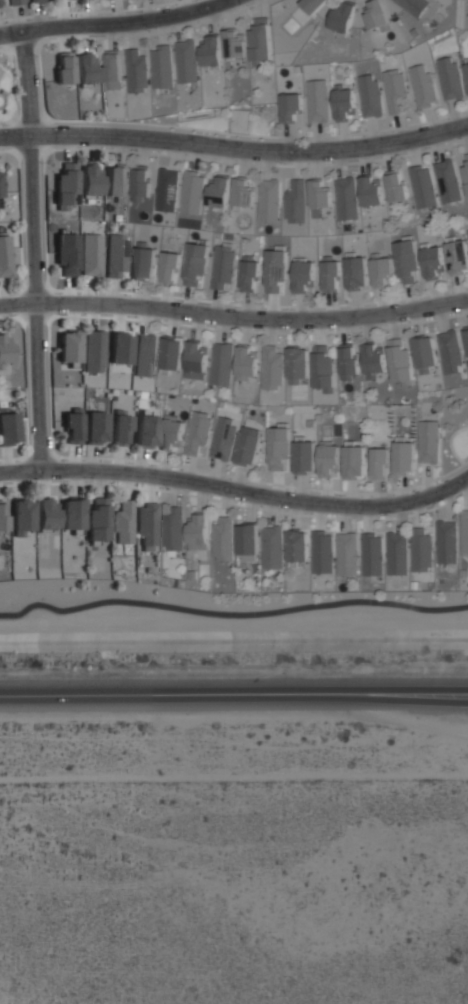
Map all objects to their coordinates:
building: (34, 0)
building: (15, 2)
building: (313, 5)
building: (413, 6)
building: (376, 15)
building: (342, 17)
road: (115, 22)
building: (234, 42)
building: (260, 42)
building: (211, 51)
building: (186, 61)
building: (161, 66)
building: (64, 67)
building: (86, 68)
building: (113, 69)
building: (136, 71)
building: (467, 74)
building: (450, 78)
building: (422, 85)
building: (395, 91)
building: (369, 95)
building: (317, 100)
building: (343, 102)
building: (291, 108)
road: (234, 148)
building: (465, 171)
building: (90, 179)
building: (447, 181)
building: (116, 182)
building: (141, 182)
building: (395, 185)
building: (66, 186)
building: (422, 186)
building: (167, 190)
building: (371, 190)
building: (219, 191)
building: (1, 192)
building: (192, 192)
building: (243, 192)
building: (319, 196)
building: (346, 198)
building: (269, 200)
building: (295, 201)
building: (467, 230)
road: (35, 249)
building: (67, 254)
building: (92, 254)
building: (117, 255)
building: (5, 256)
building: (457, 256)
building: (143, 261)
building: (406, 261)
building: (432, 261)
building: (195, 263)
building: (222, 266)
building: (169, 267)
building: (275, 270)
building: (381, 270)
building: (356, 273)
building: (248, 274)
building: (330, 274)
building: (303, 276)
road: (234, 318)
building: (467, 337)
building: (69, 346)
building: (120, 348)
building: (5, 349)
building: (93, 351)
building: (450, 351)
building: (424, 353)
building: (145, 355)
building: (373, 359)
building: (196, 360)
building: (347, 360)
building: (246, 362)
building: (400, 362)
building: (221, 363)
building: (297, 364)
building: (272, 368)
building: (323, 369)
building: (8, 426)
building: (73, 426)
building: (96, 427)
building: (120, 428)
building: (171, 430)
building: (147, 431)
building: (197, 433)
building: (223, 438)
building: (428, 441)
building: (248, 446)
building: (278, 447)
building: (304, 456)
building: (403, 457)
building: (328, 459)
building: (354, 462)
building: (379, 463)
road: (237, 490)
building: (47, 513)
building: (72, 513)
building: (22, 516)
building: (2, 517)
building: (98, 520)
building: (123, 522)
building: (147, 525)
building: (172, 529)
building: (464, 531)
building: (198, 532)
building: (247, 538)
building: (223, 539)
building: (446, 541)
building: (297, 544)
building: (272, 547)
building: (421, 550)
building: (322, 551)
building: (347, 553)
building: (396, 553)
building: (371, 554)
road: (231, 614)
road: (234, 695)

